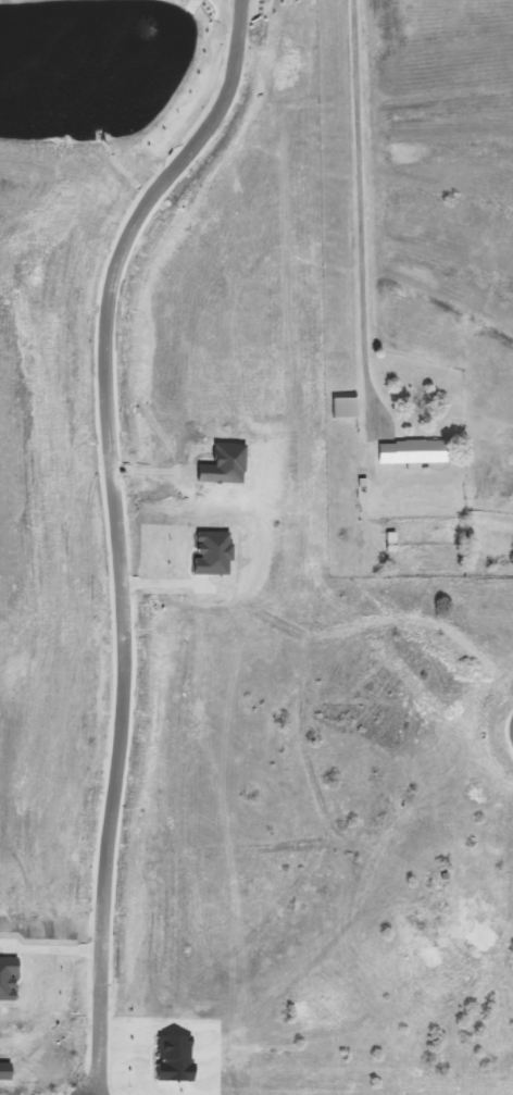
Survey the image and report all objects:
road: (353, 173)
building: (340, 408)
building: (410, 451)
road: (115, 528)
building: (428, 926)

